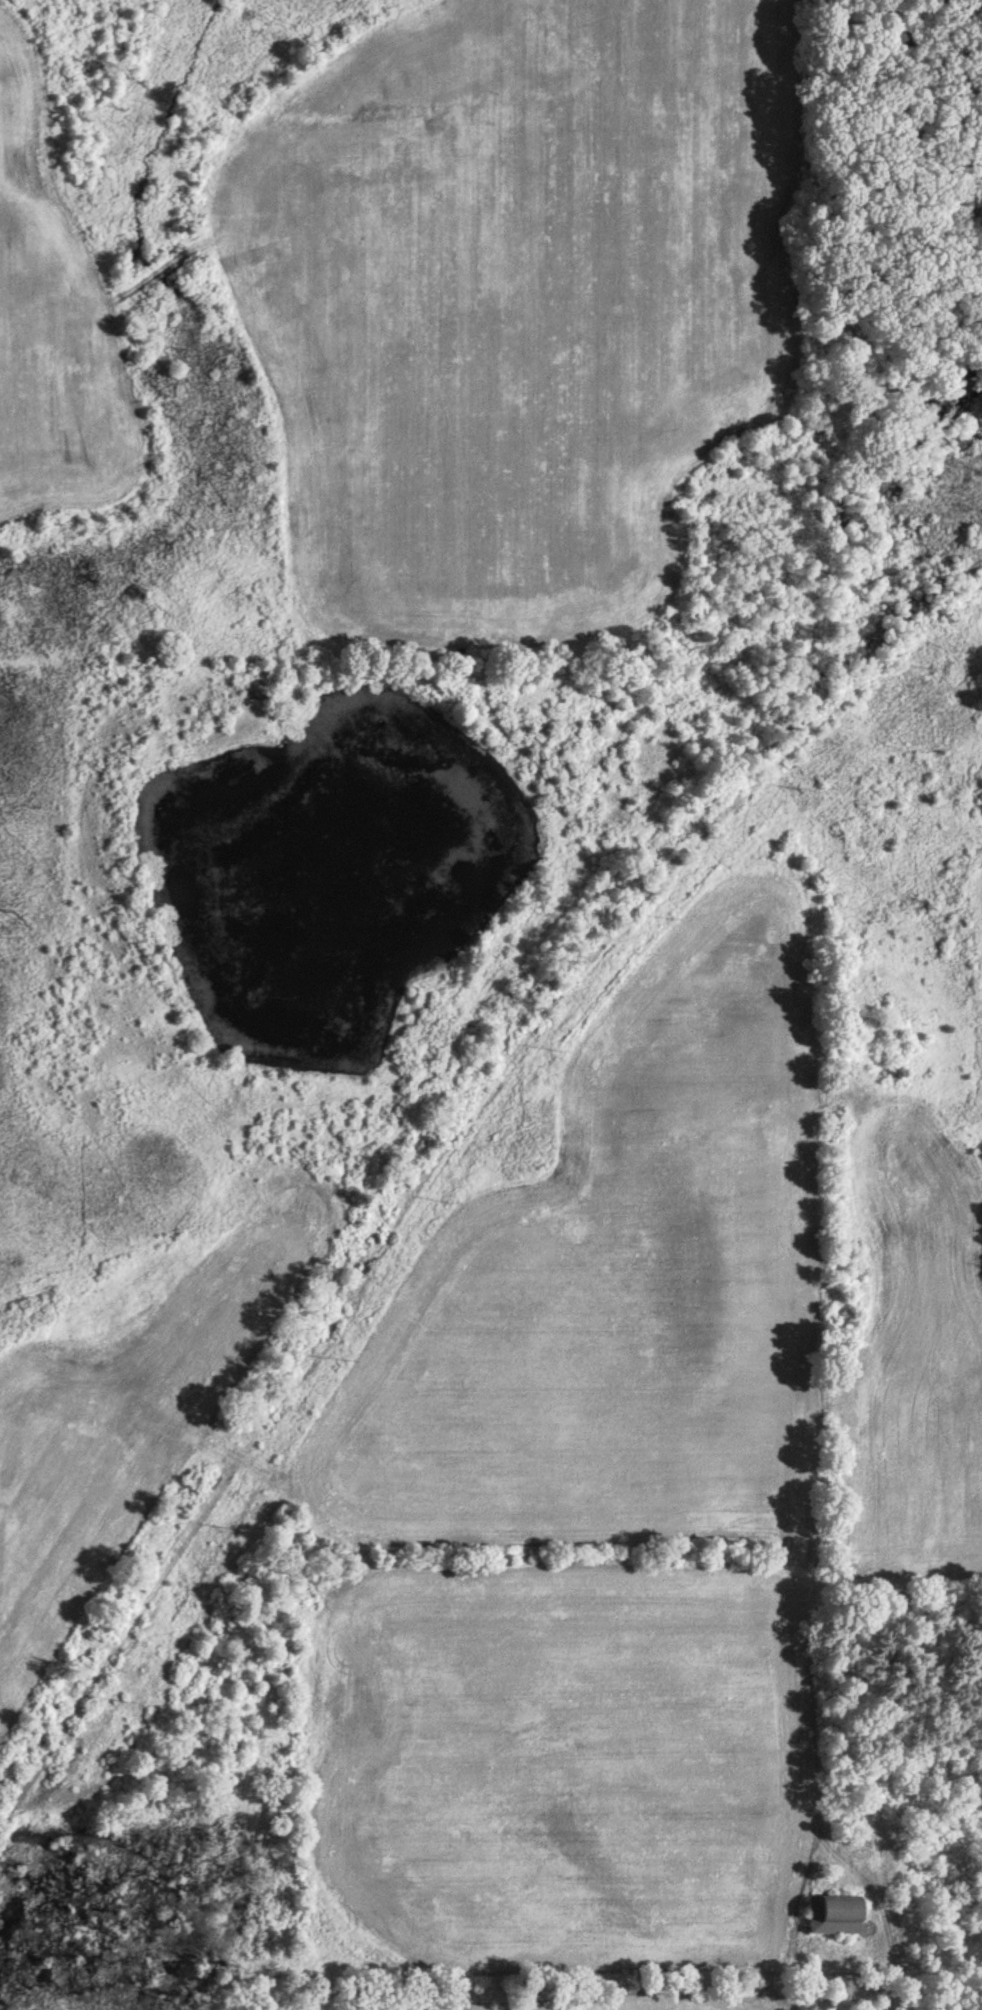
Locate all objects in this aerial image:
building: (839, 1921)

